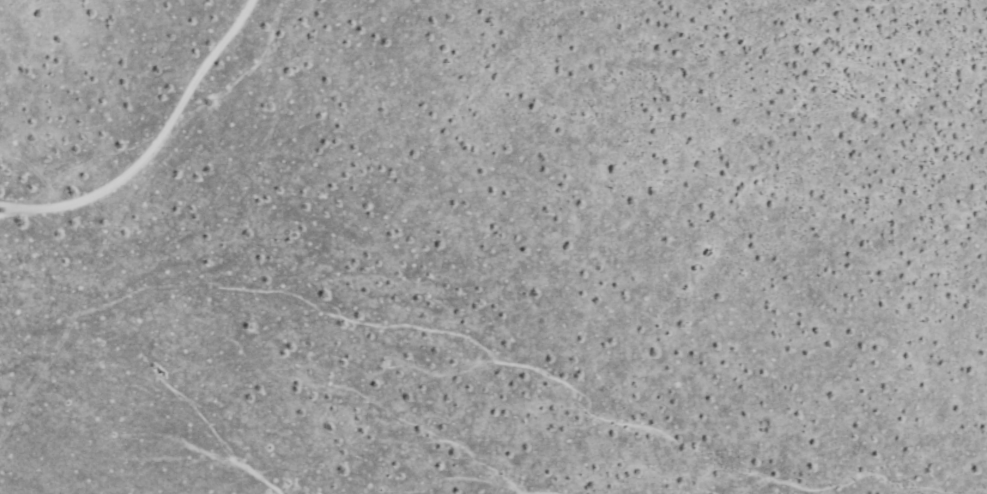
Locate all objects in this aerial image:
road: (151, 144)

